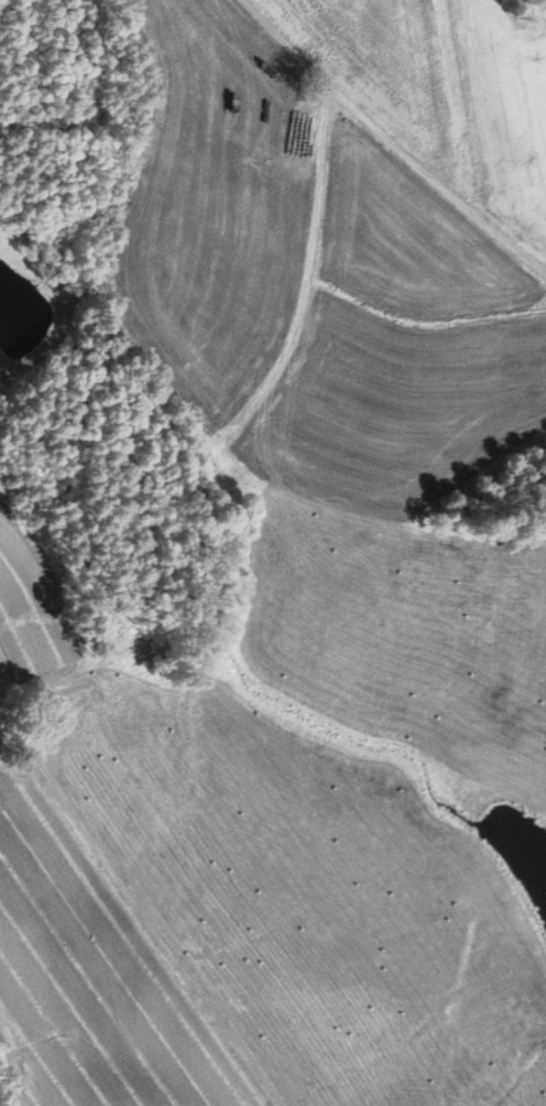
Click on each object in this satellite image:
road: (390, 141)
road: (134, 890)

